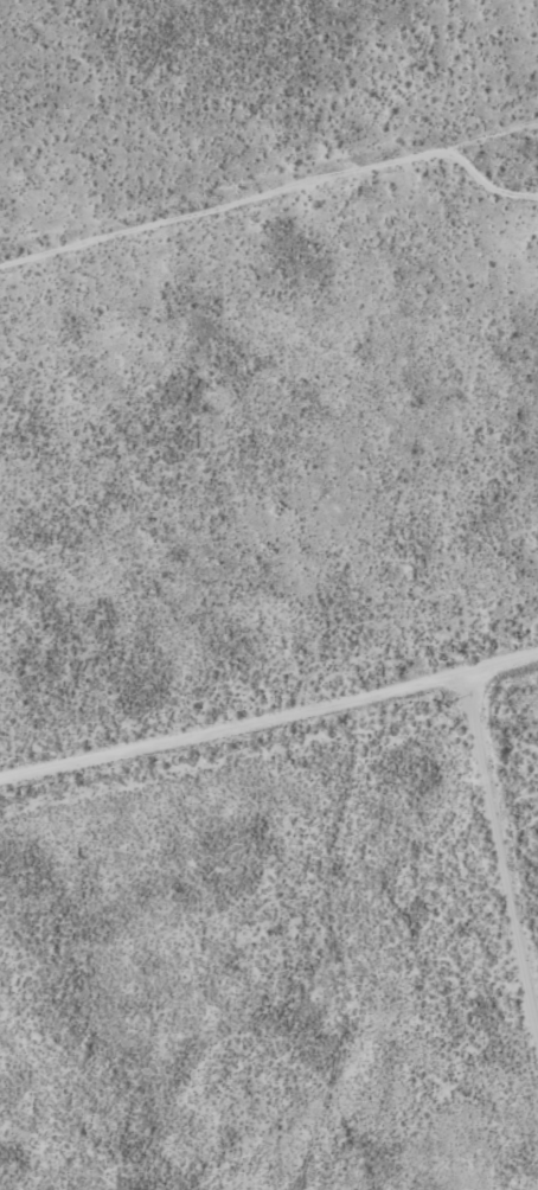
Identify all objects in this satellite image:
road: (269, 716)

